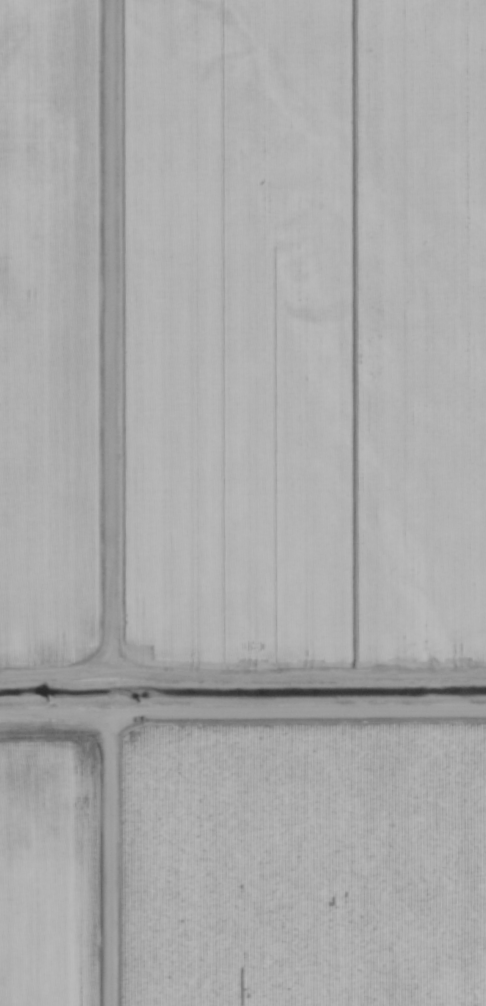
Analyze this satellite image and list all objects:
road: (107, 502)
road: (53, 681)

